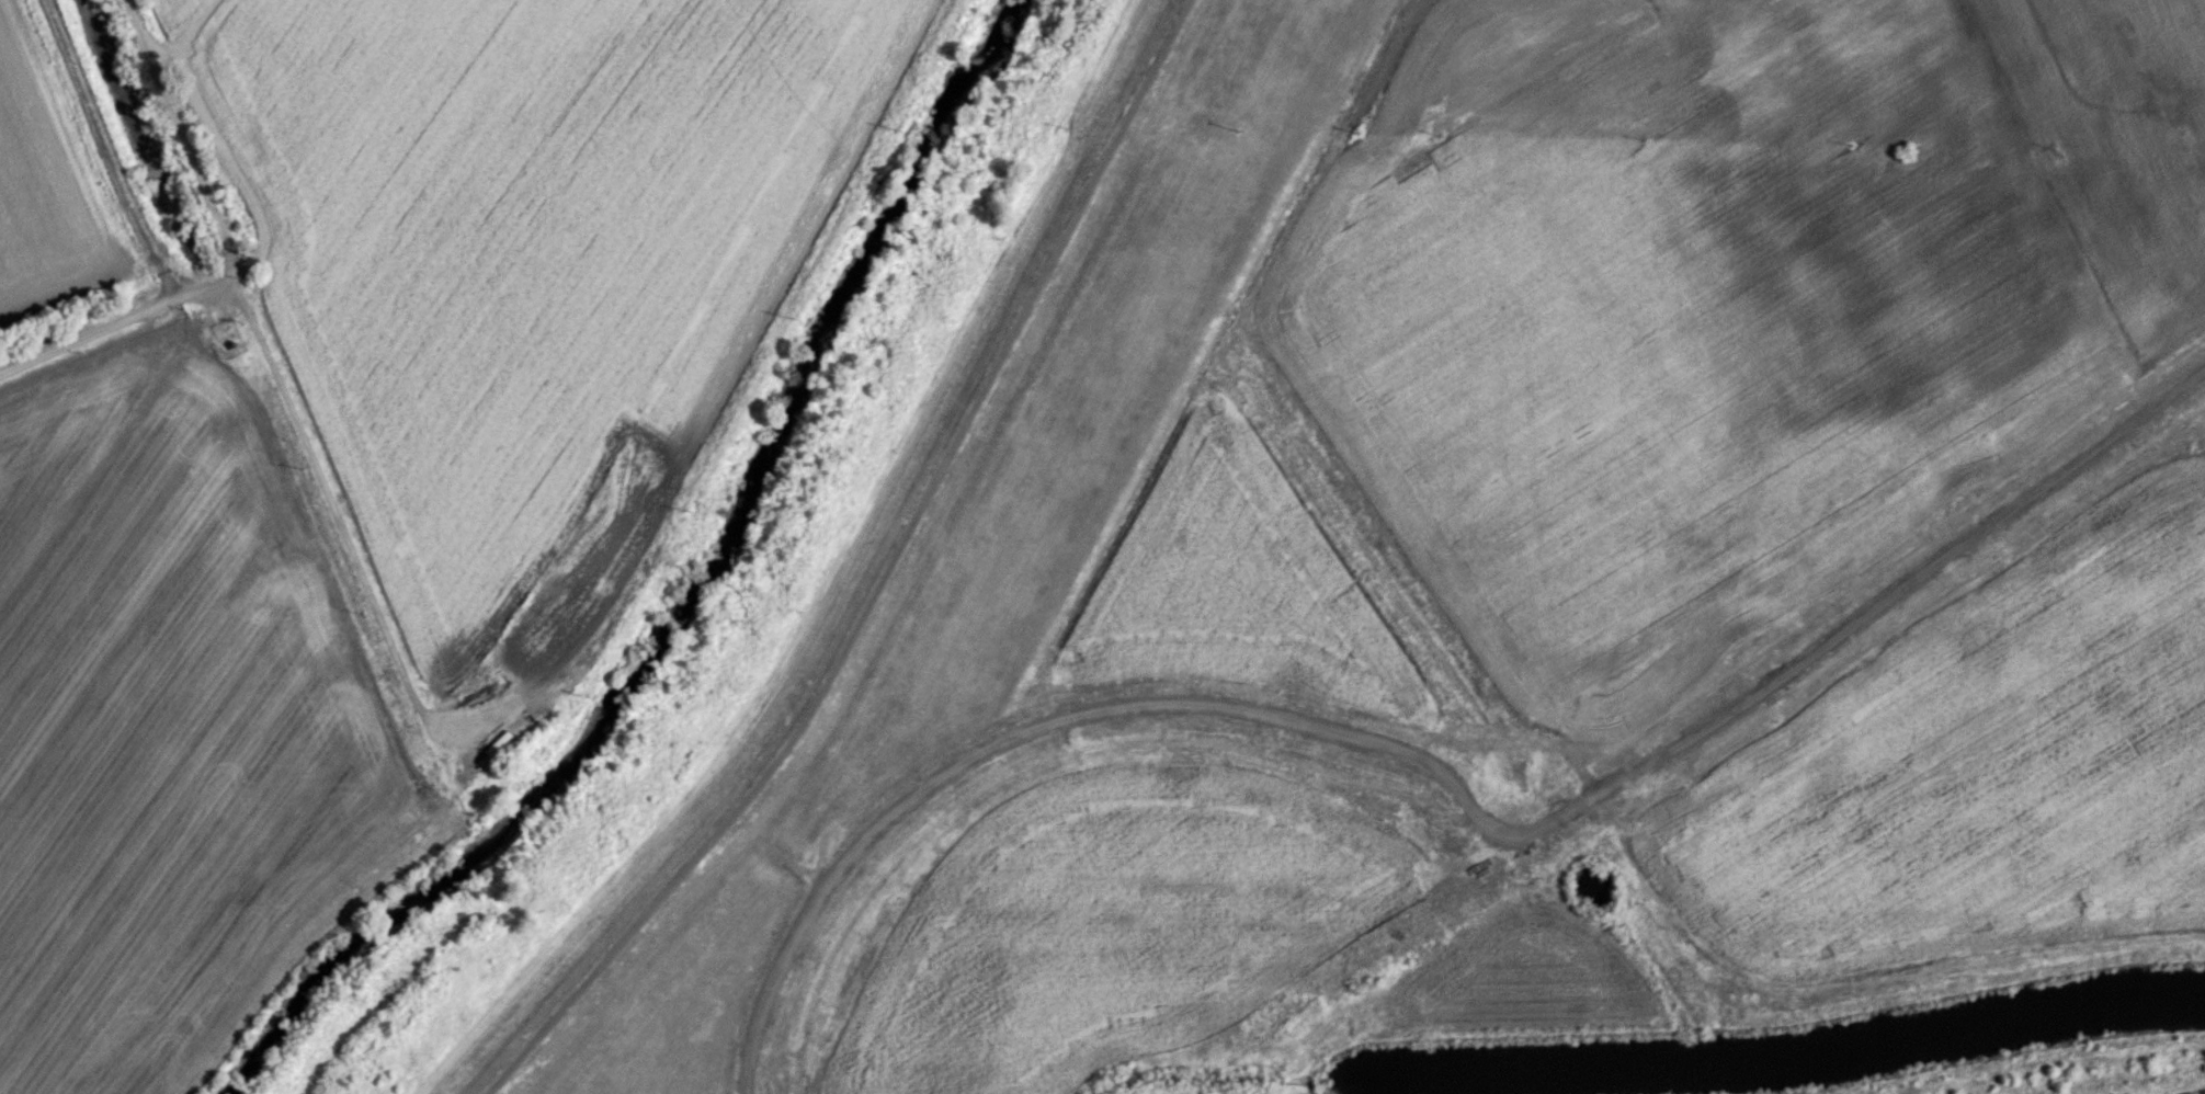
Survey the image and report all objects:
road: (111, 326)
road: (1278, 331)
building: (1610, 400)
road: (343, 528)
road: (882, 577)
road: (1433, 764)

